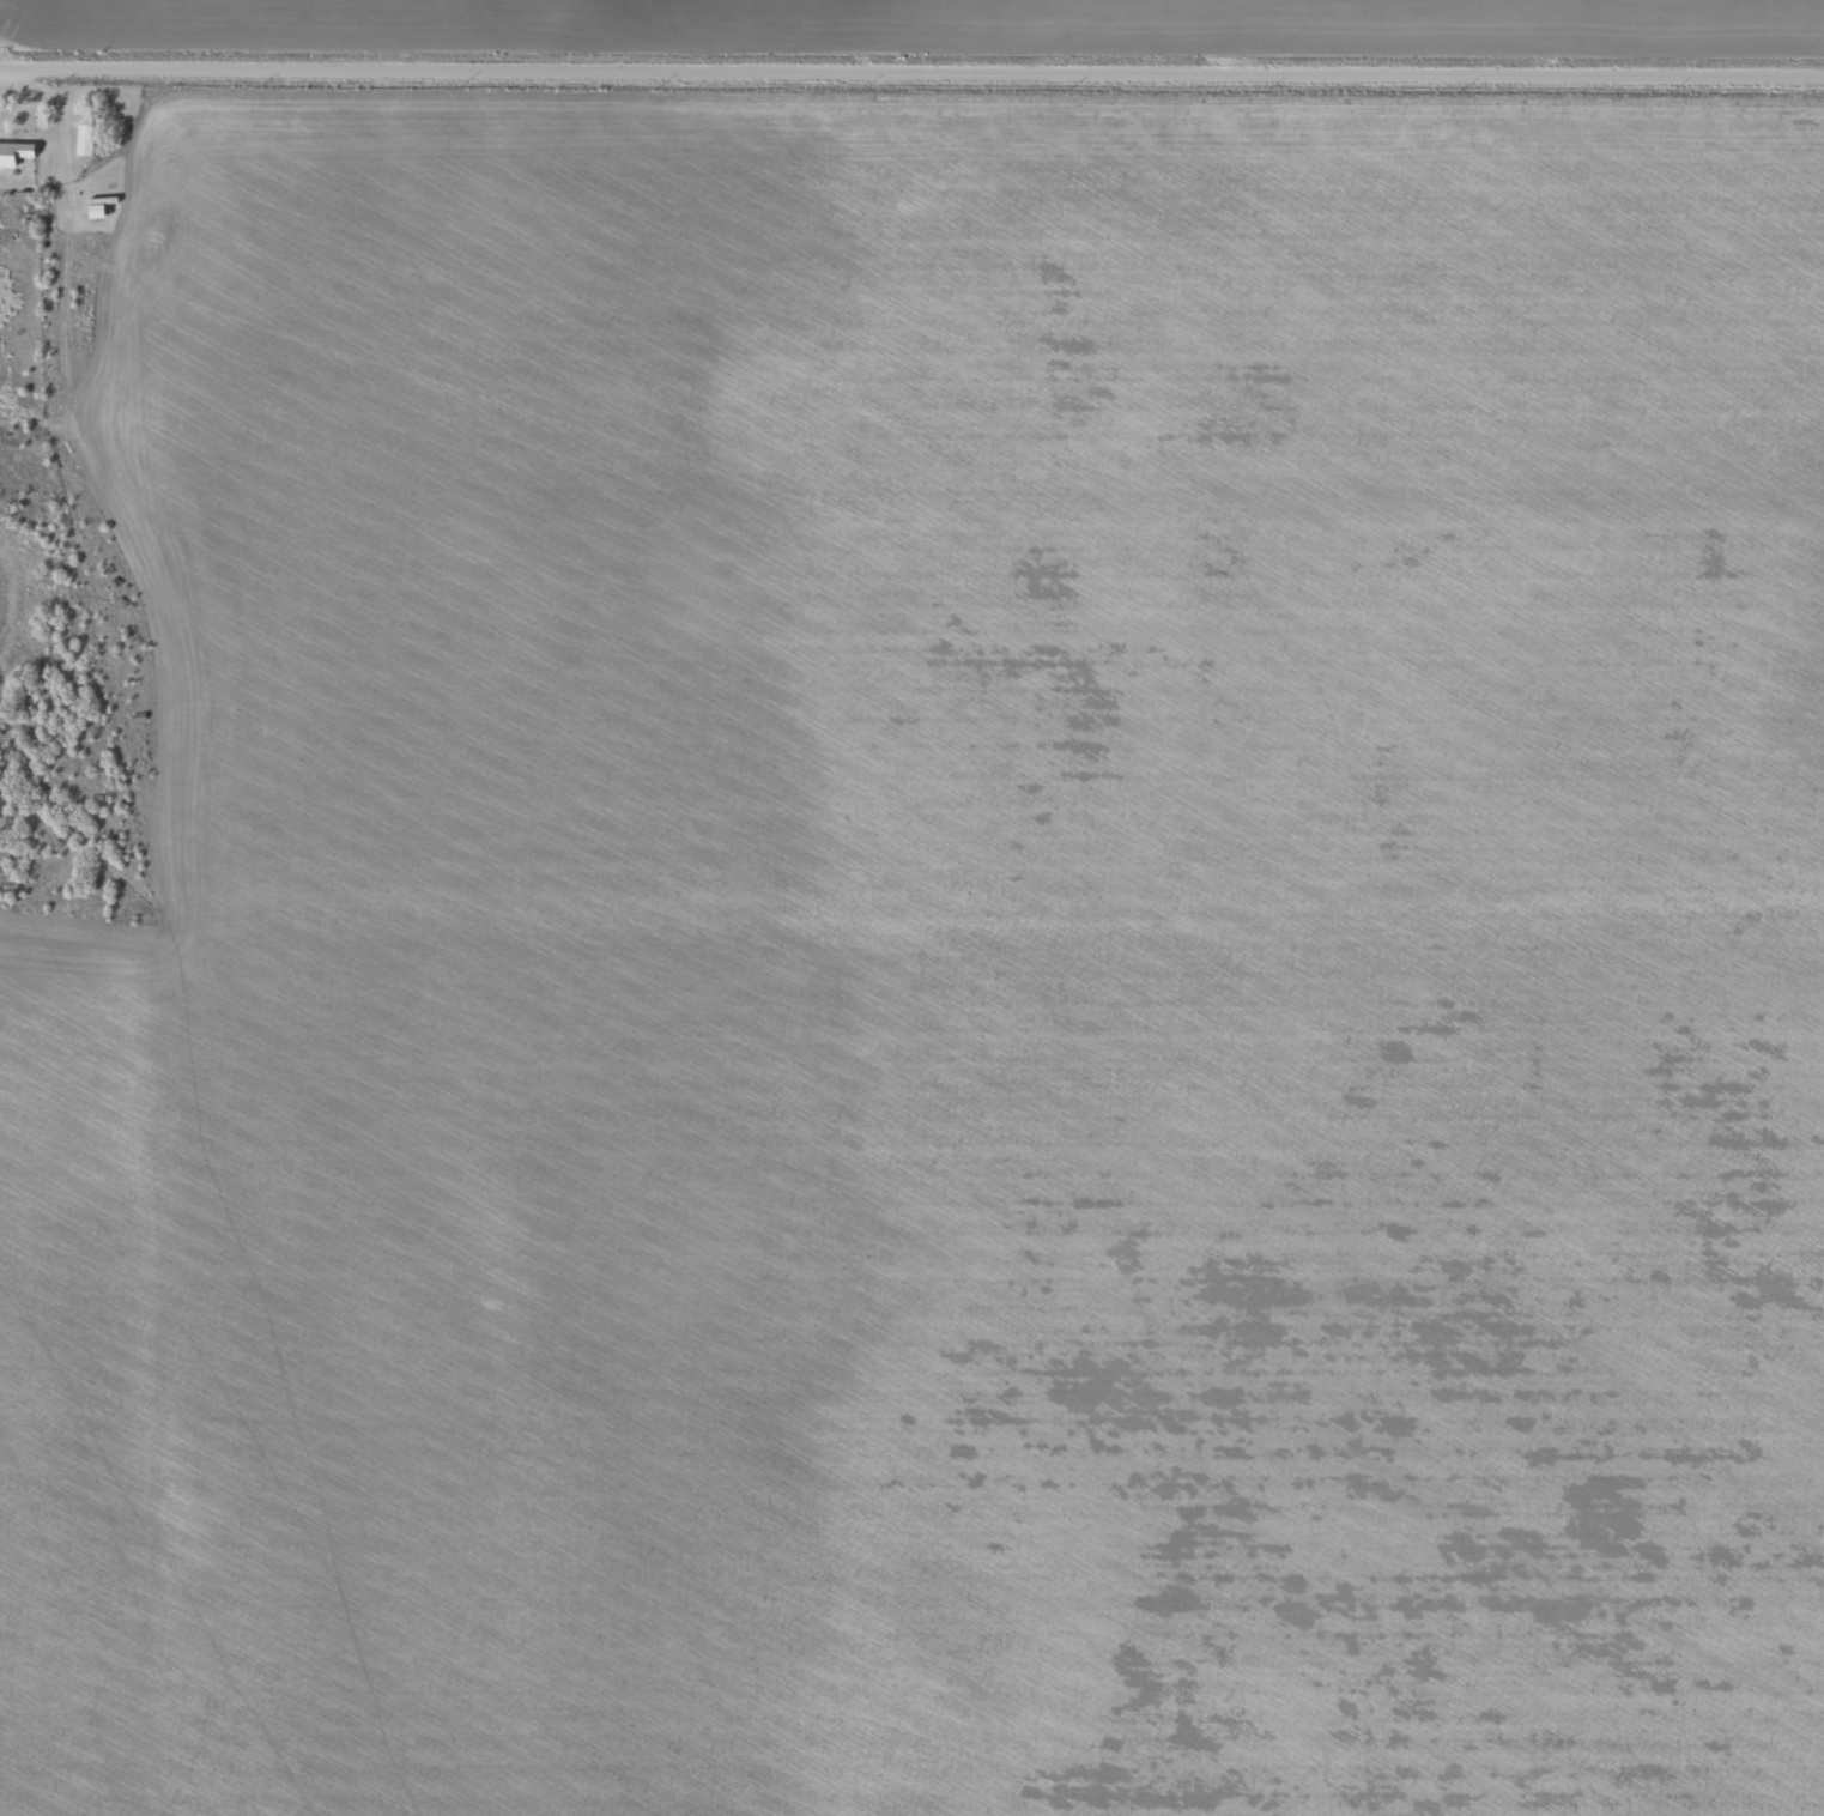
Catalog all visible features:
road: (911, 93)
building: (14, 155)
building: (25, 199)
building: (96, 213)

